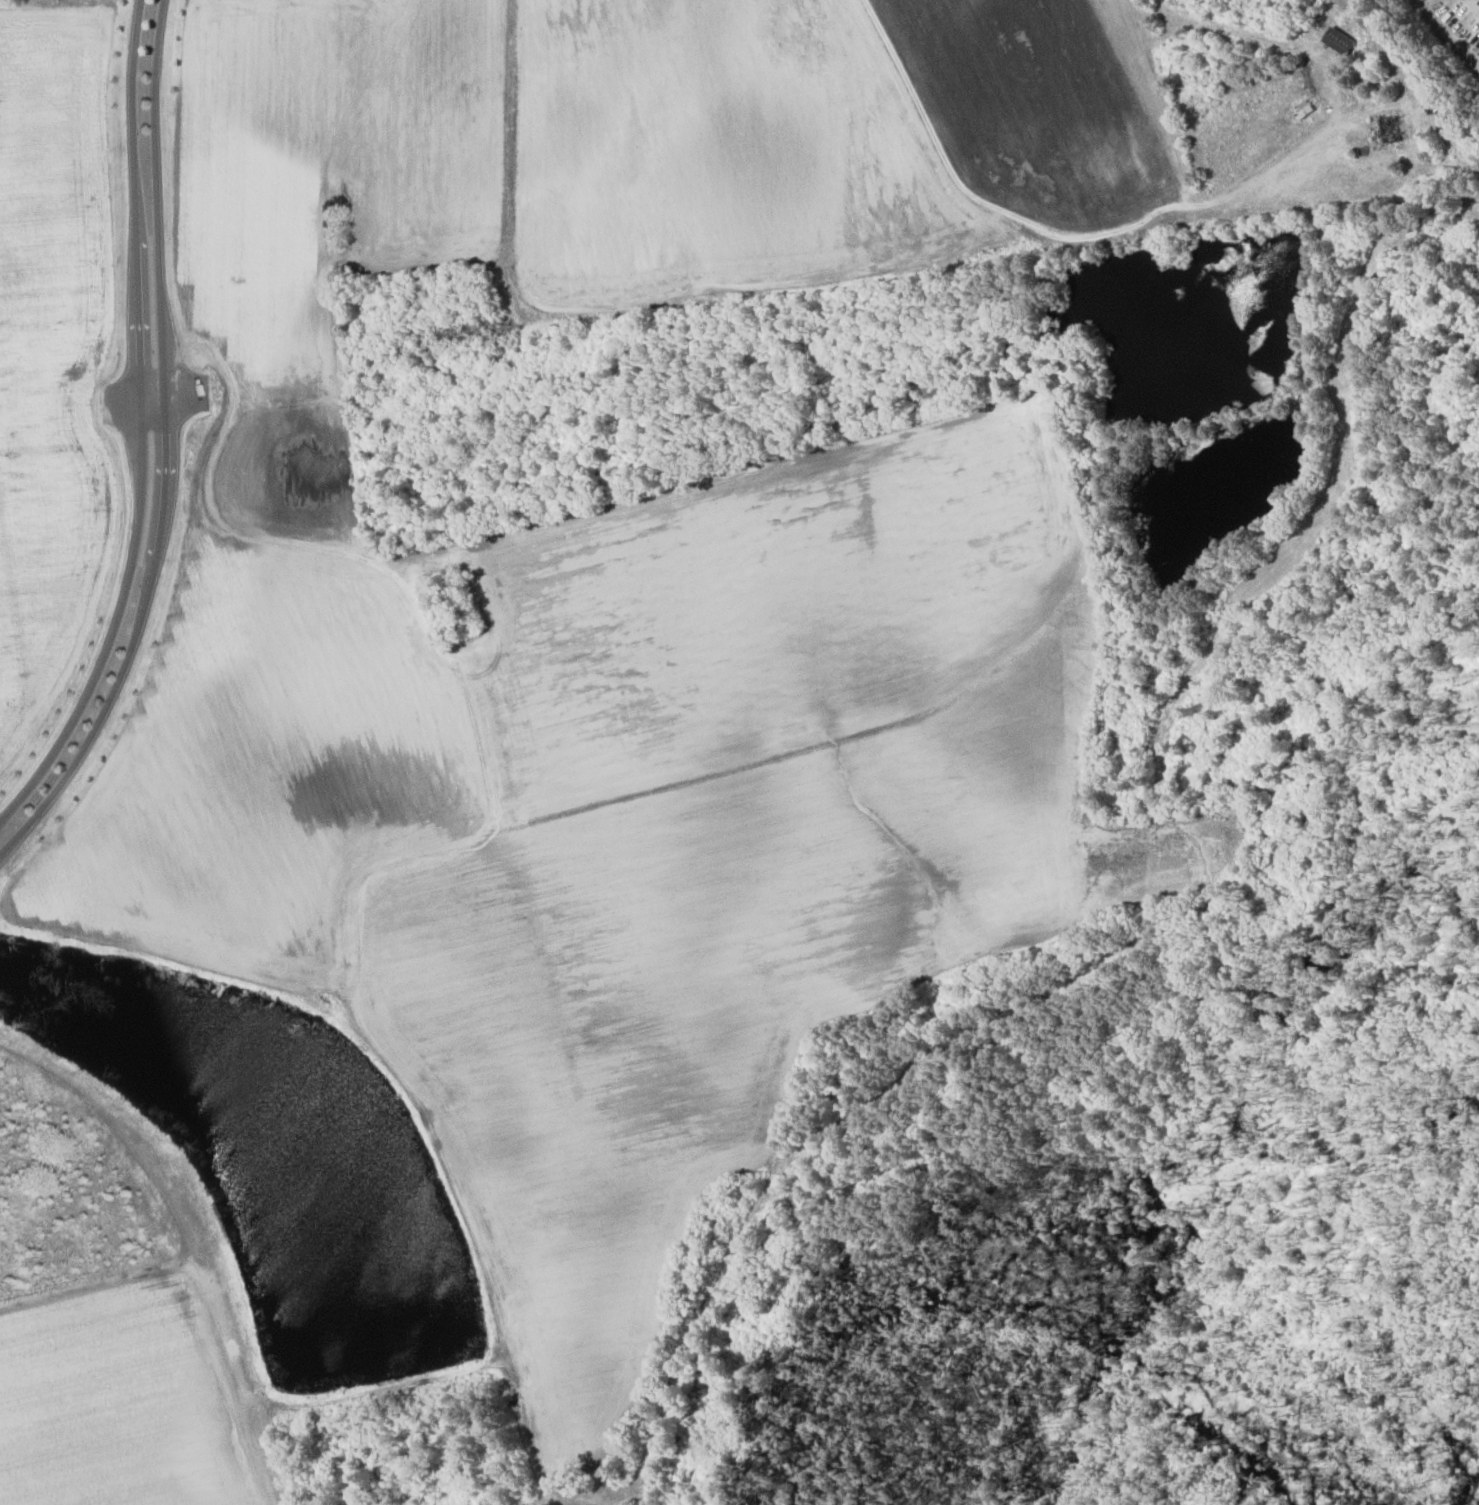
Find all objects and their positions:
road: (1434, 32)
building: (1387, 129)
road: (1377, 207)
wastewater plant: (1443, 248)
road: (710, 309)
road: (158, 395)
road: (142, 430)
road: (166, 450)
road: (608, 503)
road: (15, 549)
road: (106, 759)
road: (405, 1086)
road: (191, 1238)
road: (373, 1393)

